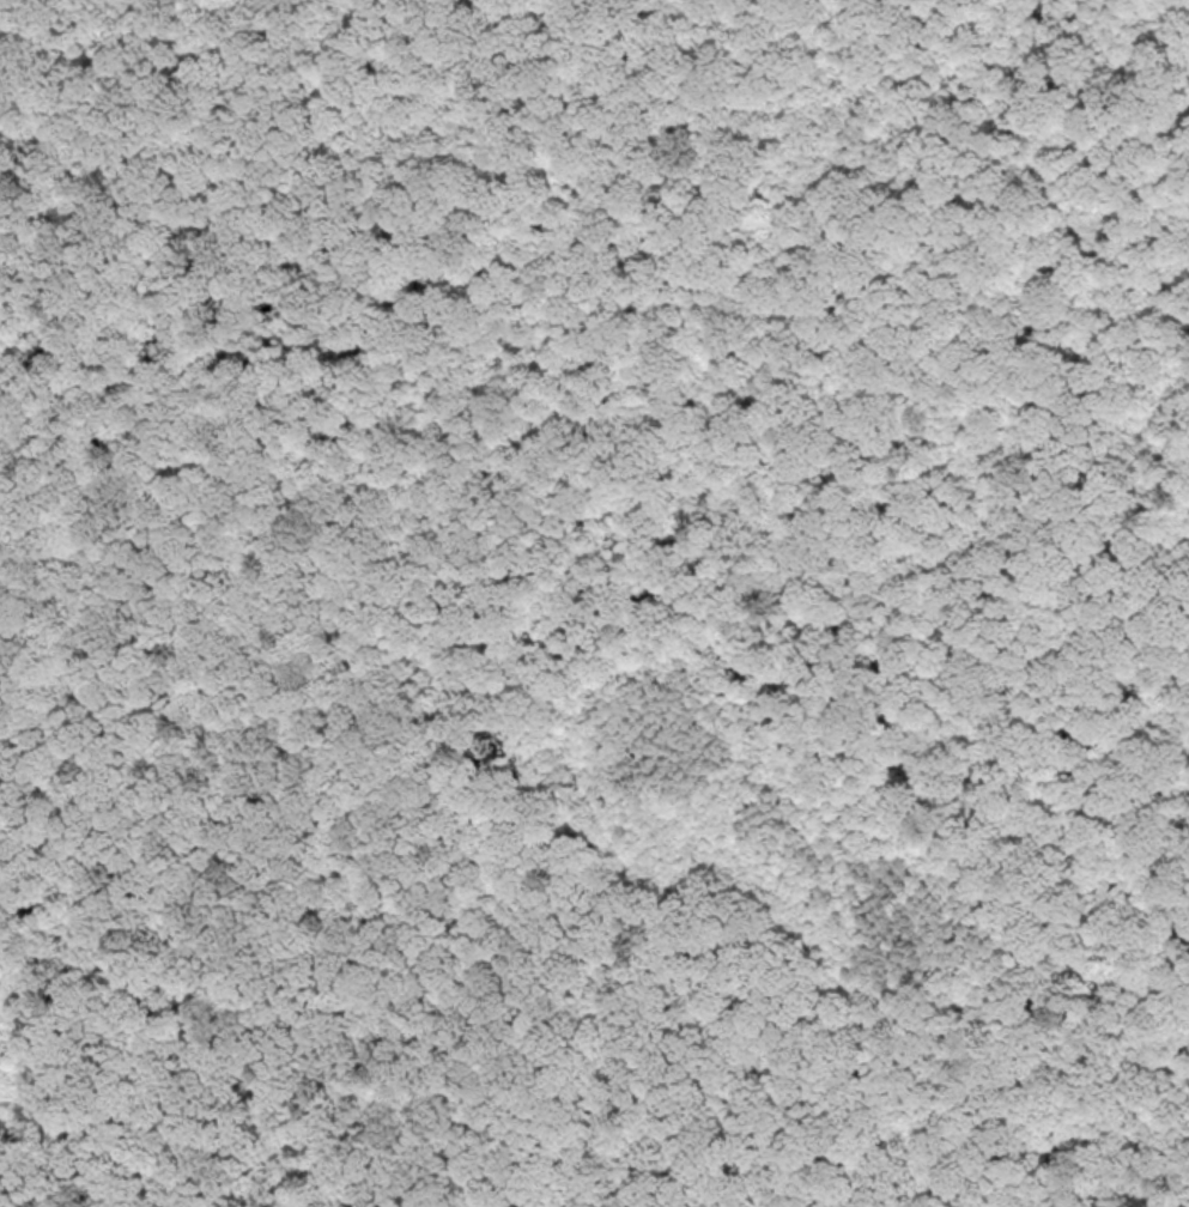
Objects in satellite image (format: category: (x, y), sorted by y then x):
park: (594, 603)

